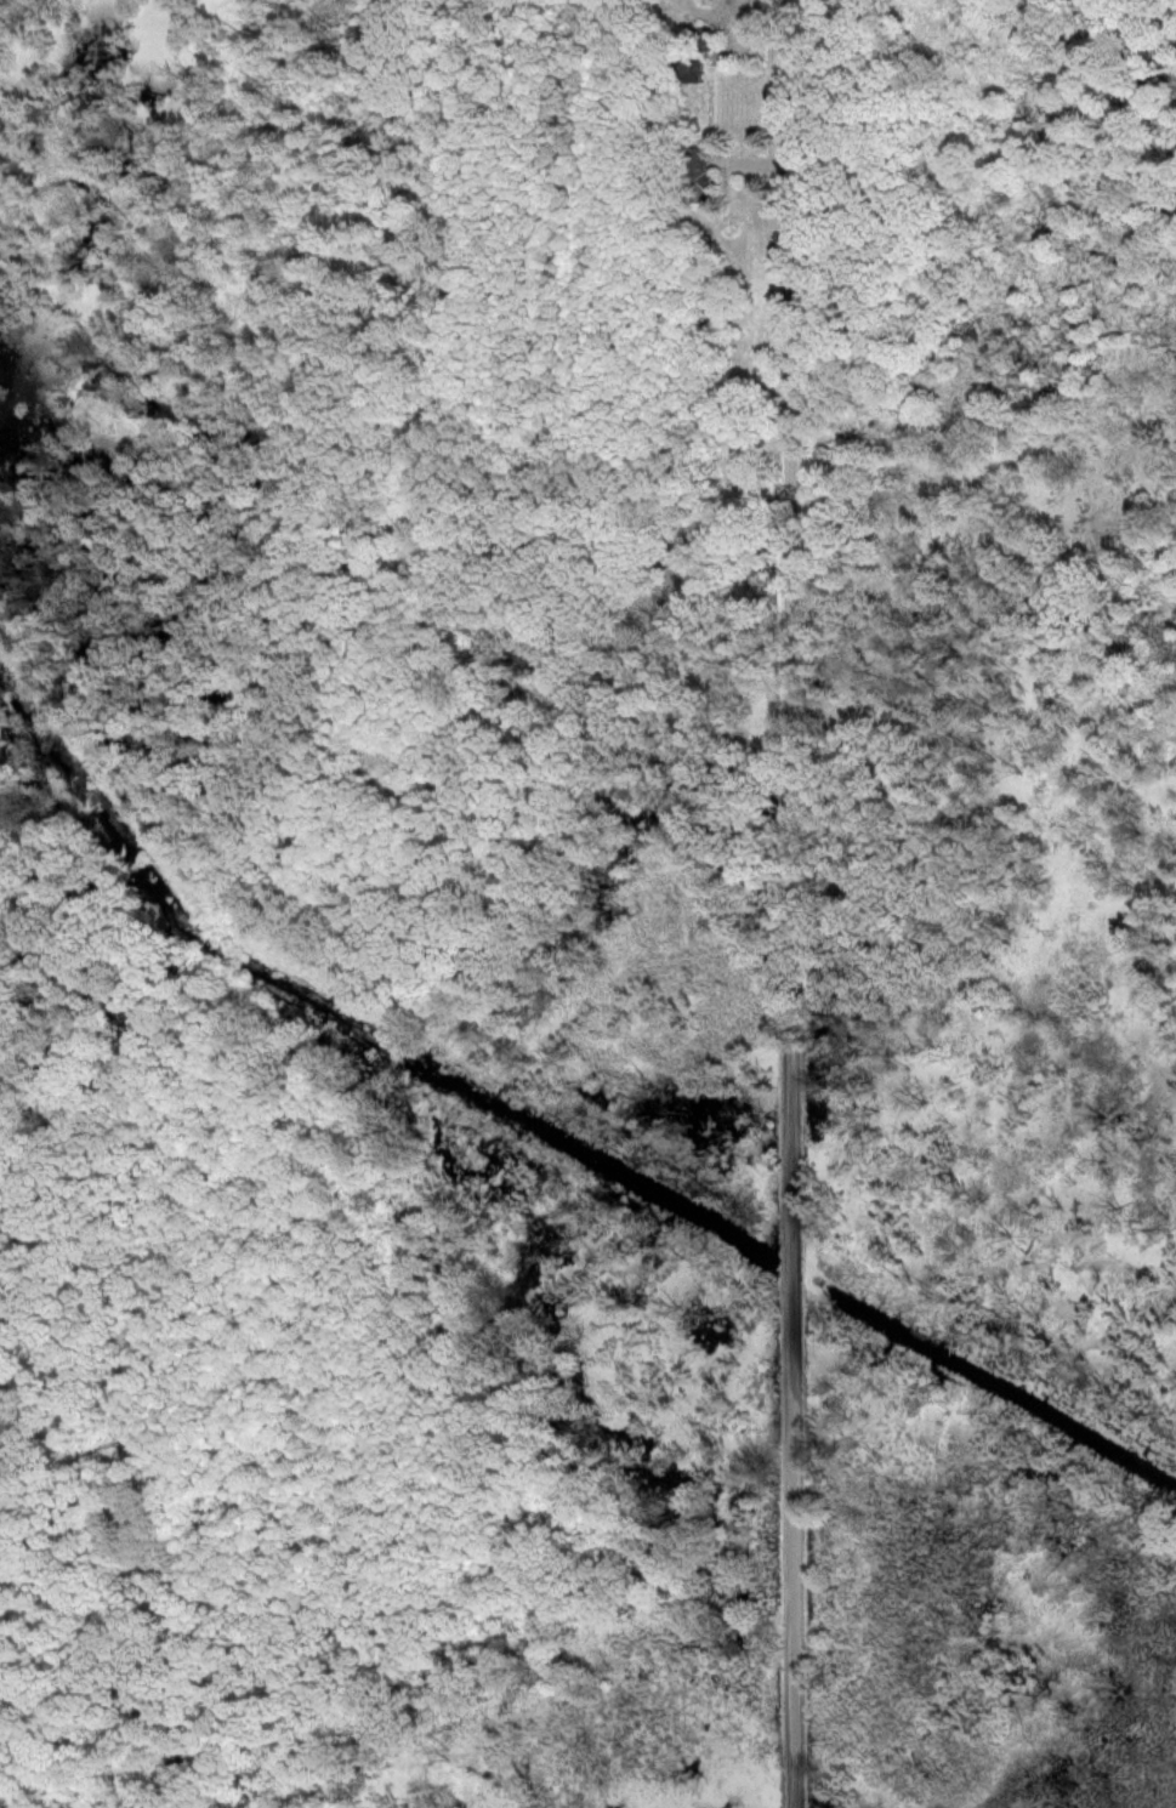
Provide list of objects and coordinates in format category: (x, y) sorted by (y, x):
building: (688, 175)
road: (788, 904)

